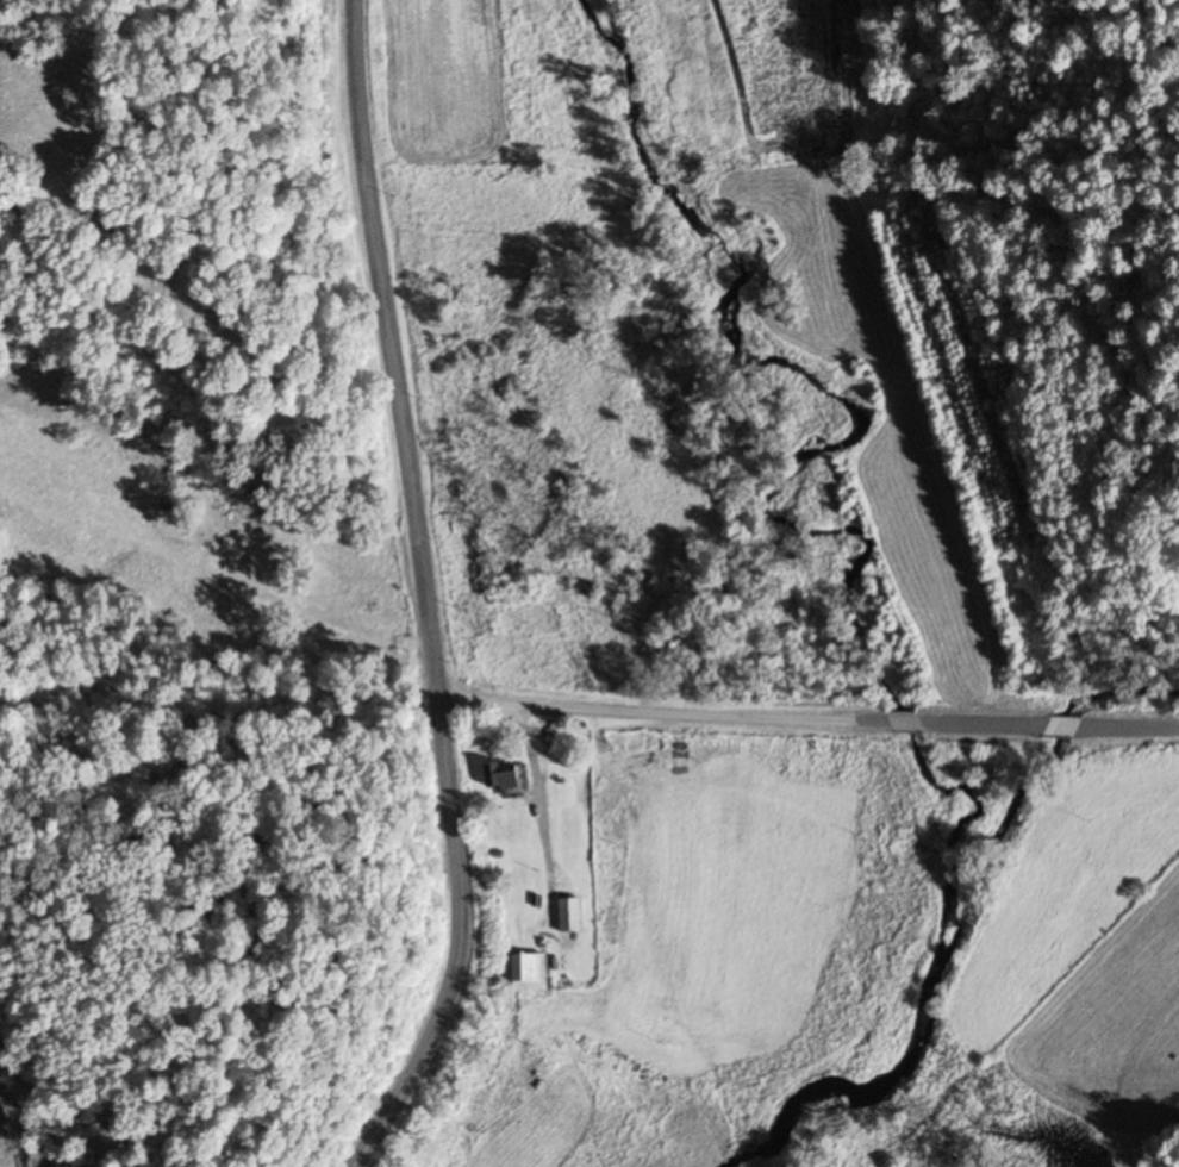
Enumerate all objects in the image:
road: (419, 595)
road: (643, 709)
road: (907, 719)
road: (1069, 724)
building: (506, 776)
building: (570, 917)
building: (531, 975)
road: (21, 1132)

